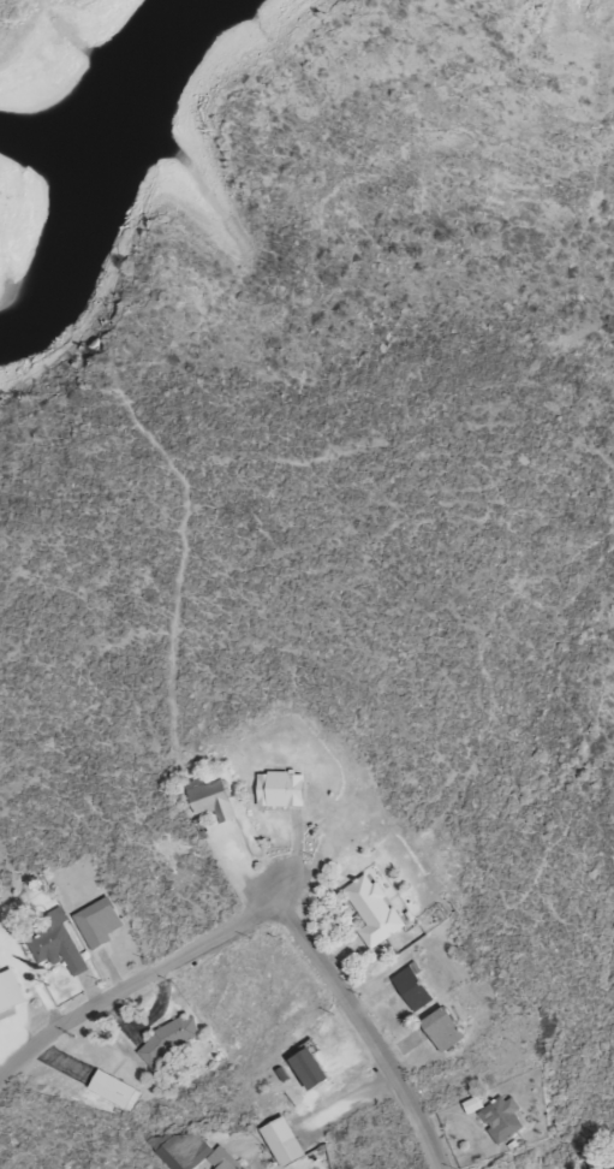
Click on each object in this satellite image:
building: (281, 790)
building: (213, 801)
road: (251, 871)
building: (374, 910)
building: (99, 922)
building: (58, 944)
road: (135, 987)
building: (412, 989)
building: (11, 991)
building: (443, 1029)
road: (366, 1033)
building: (169, 1040)
building: (310, 1069)
building: (115, 1090)
building: (502, 1118)
road: (347, 1125)
building: (285, 1143)
building: (215, 1157)
building: (609, 1165)

